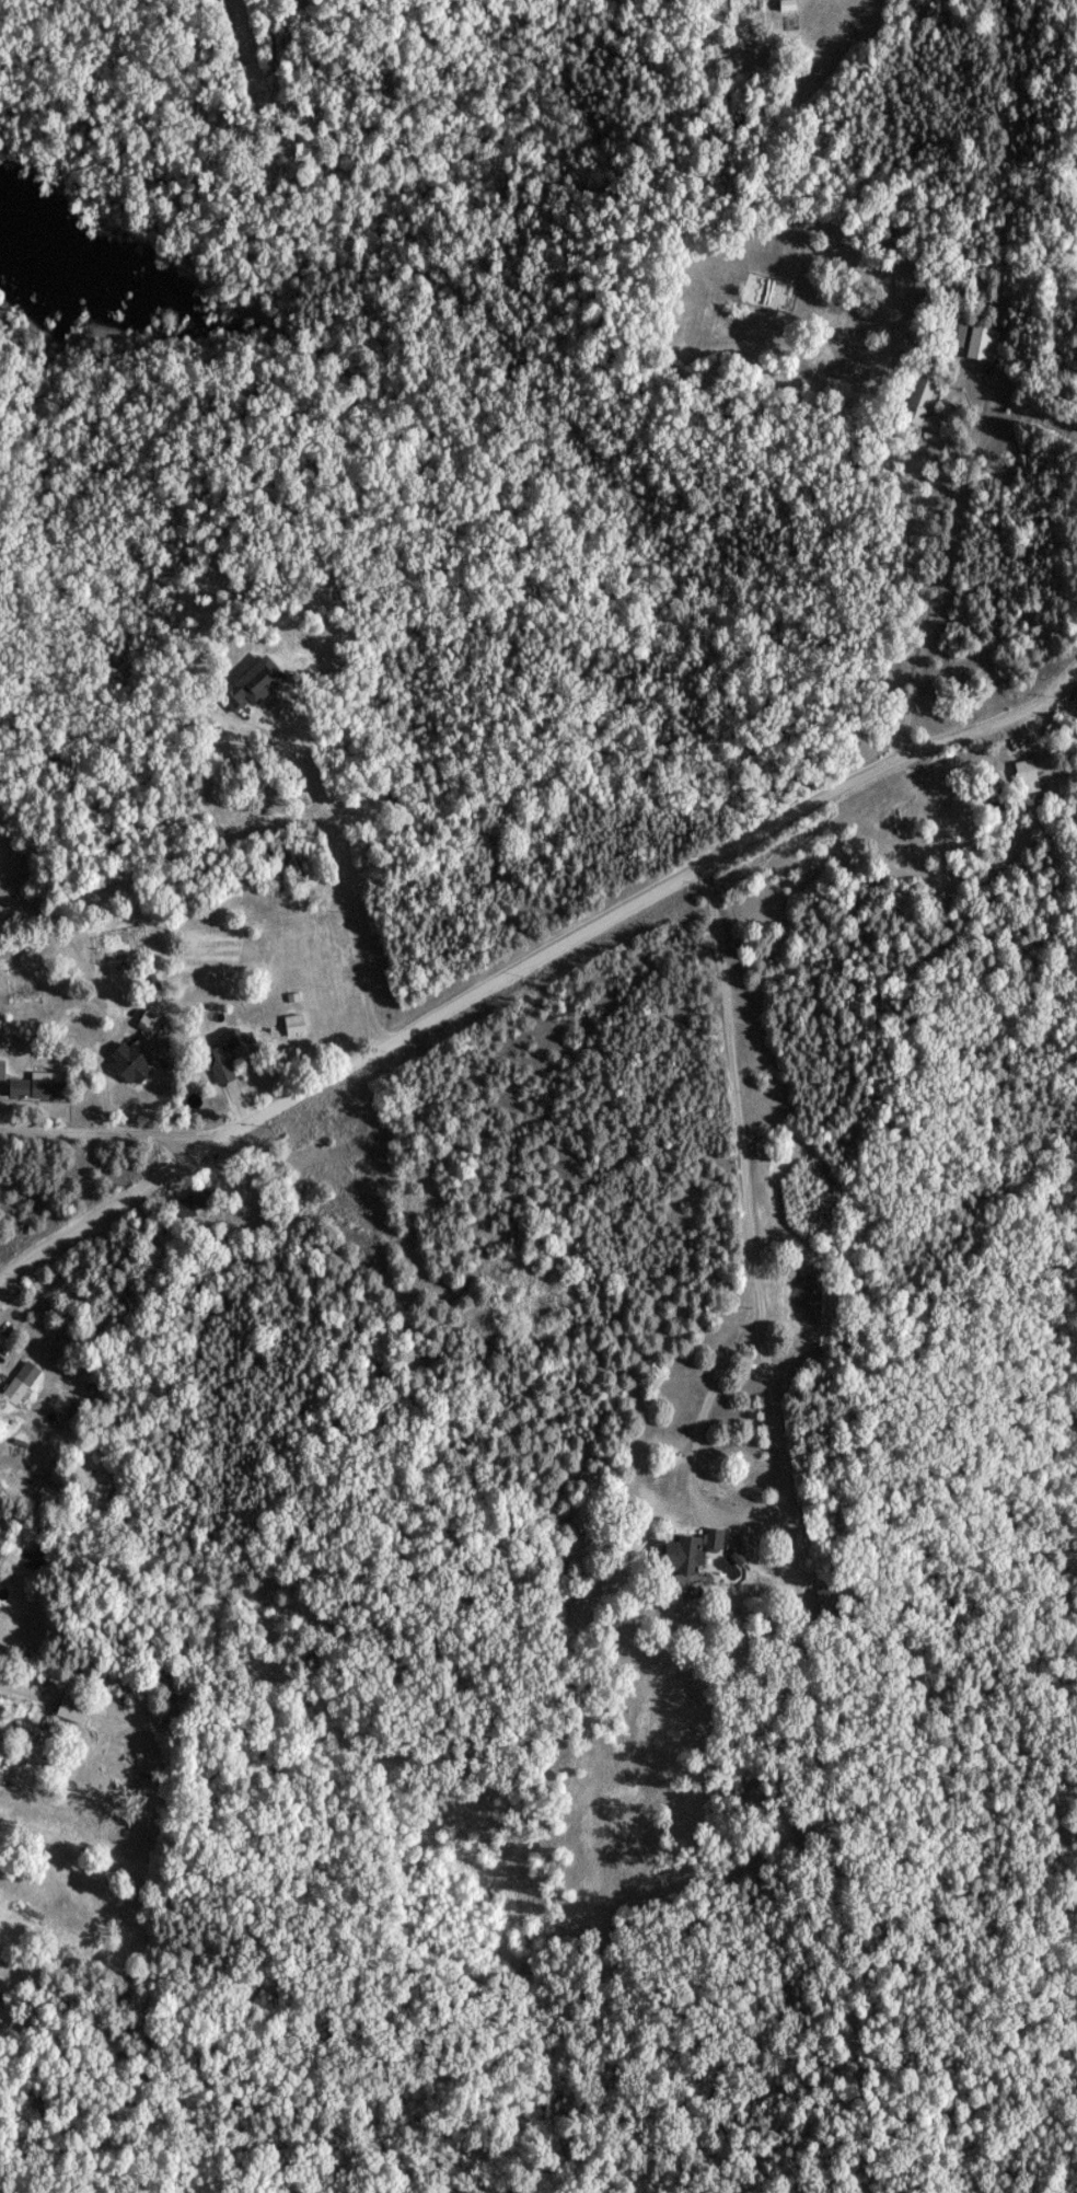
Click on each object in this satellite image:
building: (981, 342)
building: (920, 397)
road: (942, 568)
building: (254, 682)
building: (1028, 773)
road: (532, 961)
building: (147, 1018)
building: (293, 1023)
building: (229, 1052)
building: (132, 1060)
building: (2, 1067)
building: (37, 1085)
road: (40, 1133)
road: (143, 1136)
road: (764, 1329)
building: (20, 1381)
building: (692, 1550)
building: (73, 1708)

